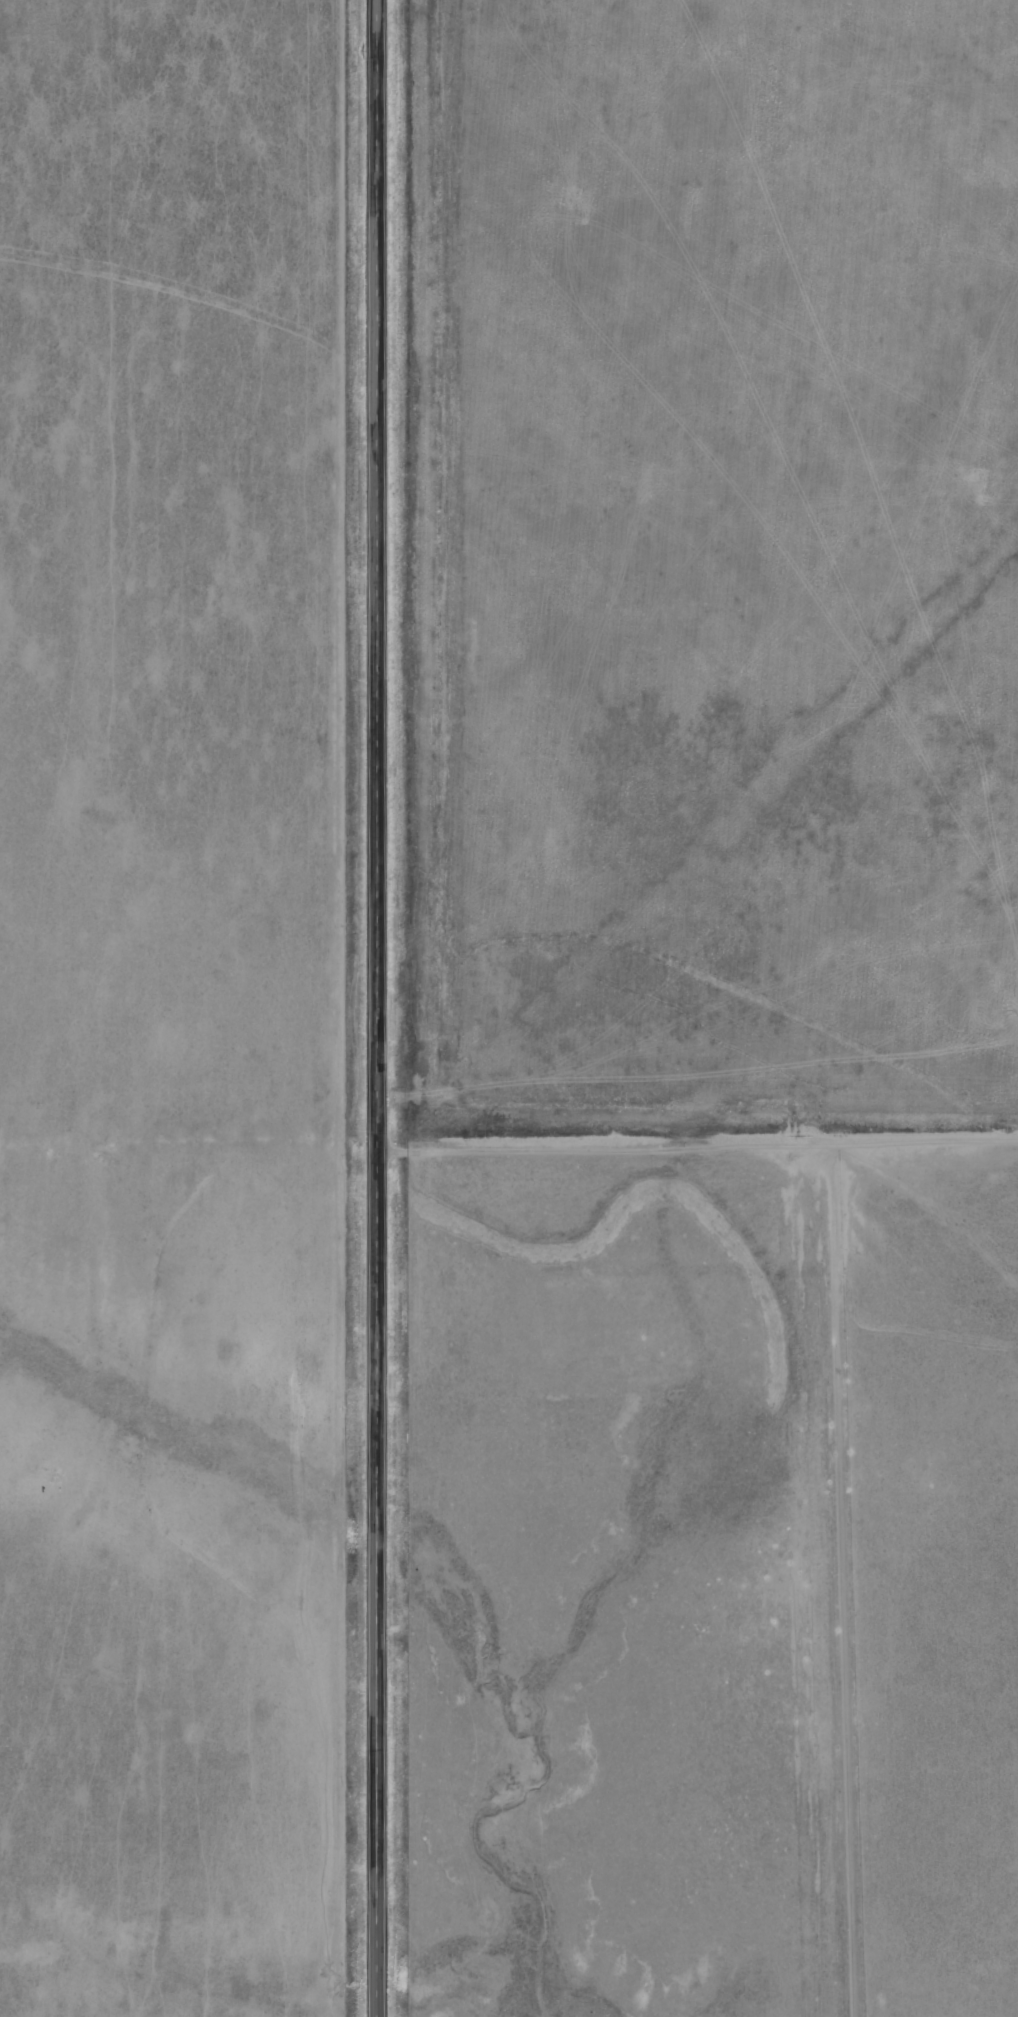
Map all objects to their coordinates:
road: (384, 1008)
road: (701, 1158)

